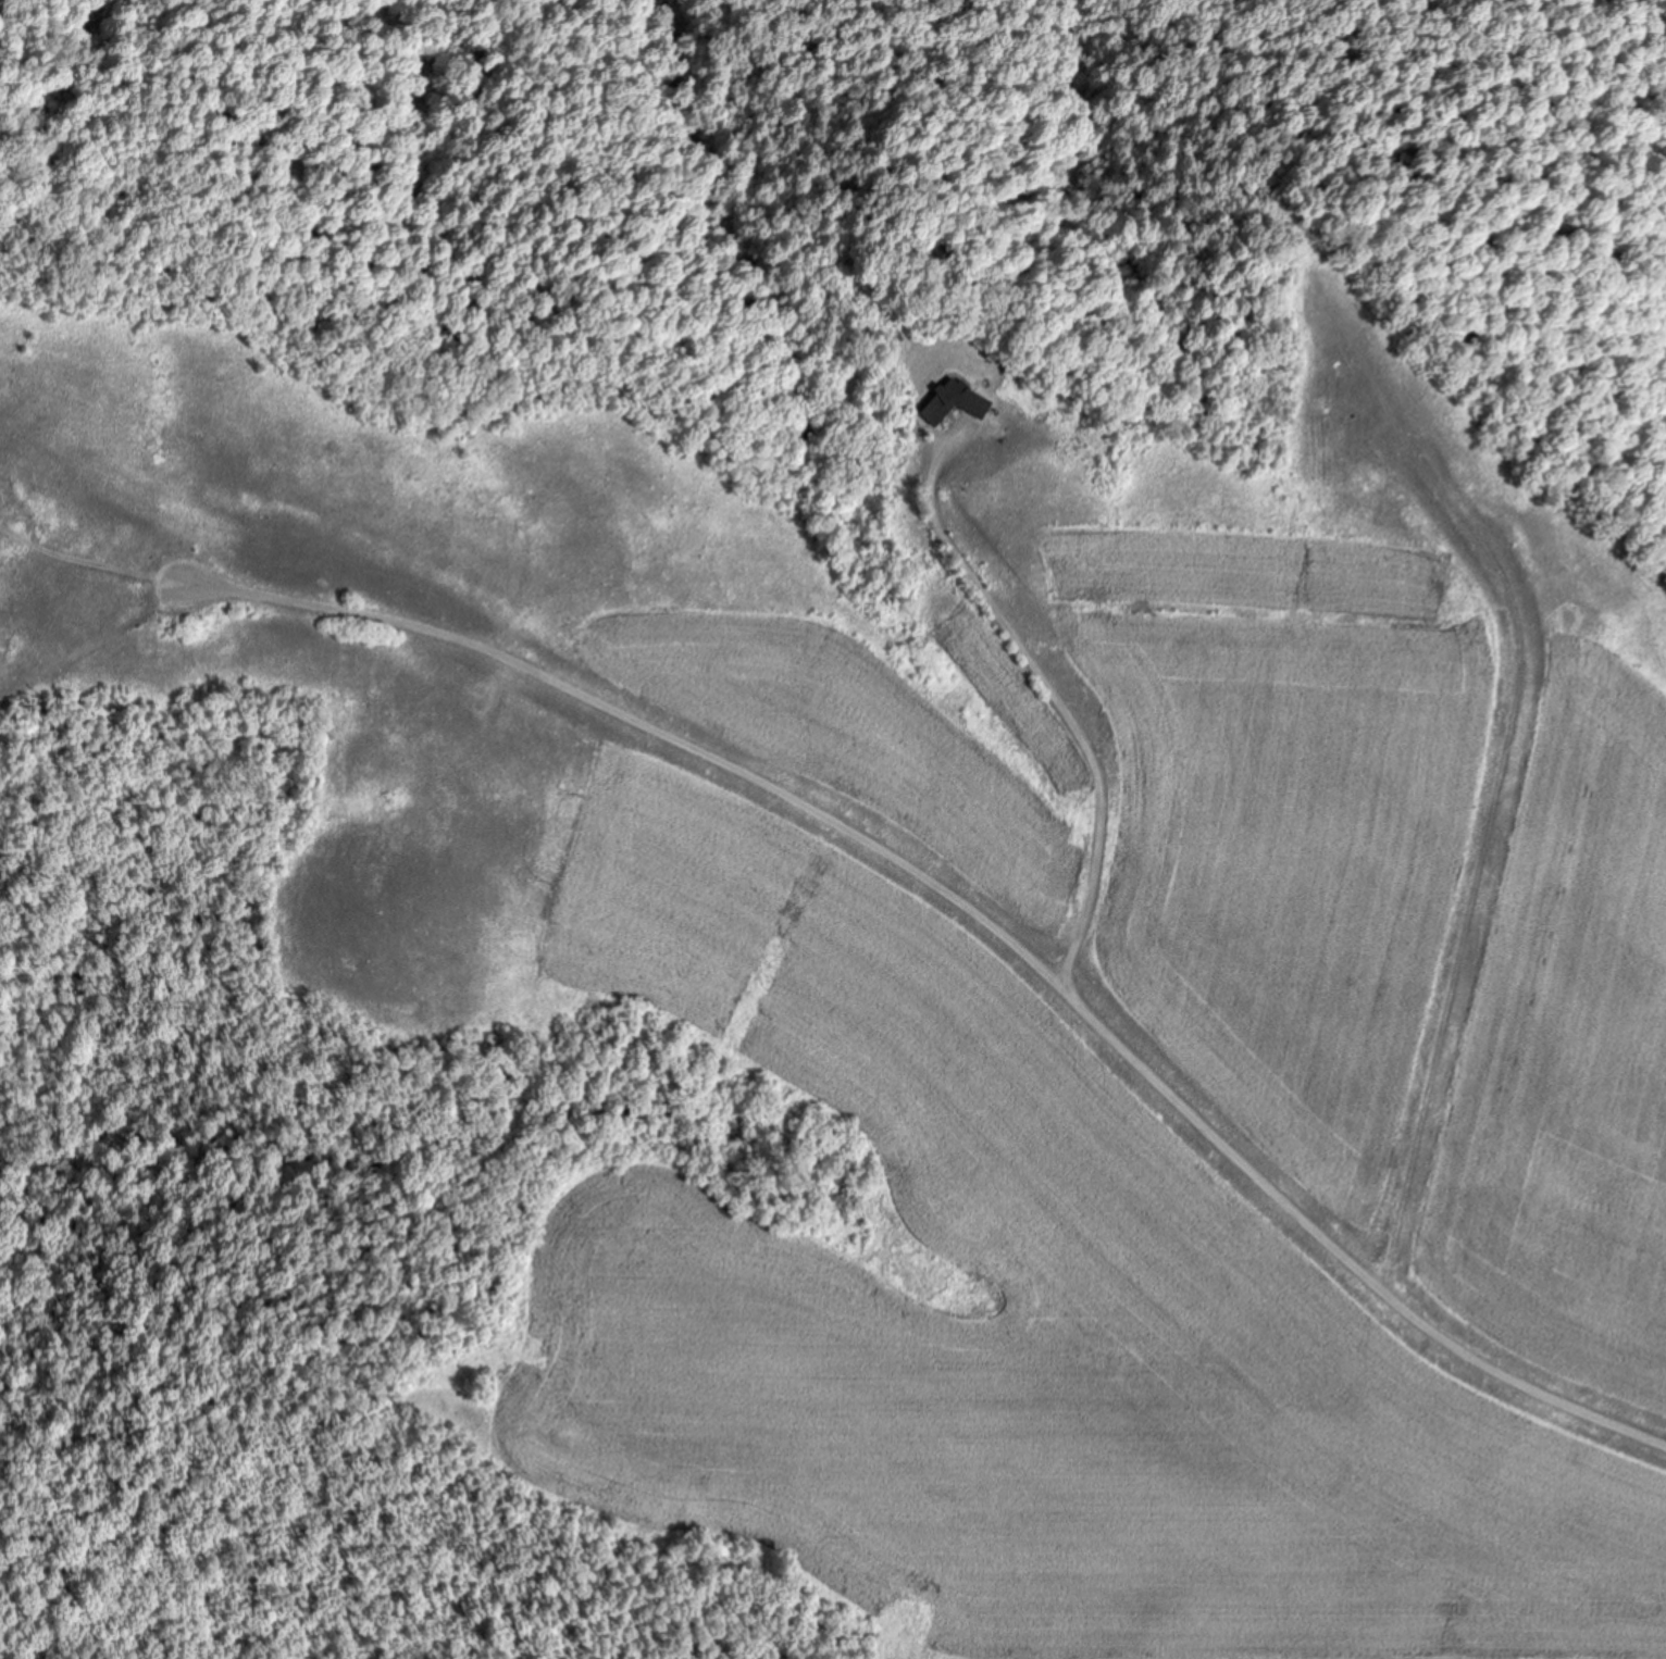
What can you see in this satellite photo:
building: (946, 402)
road: (984, 923)

